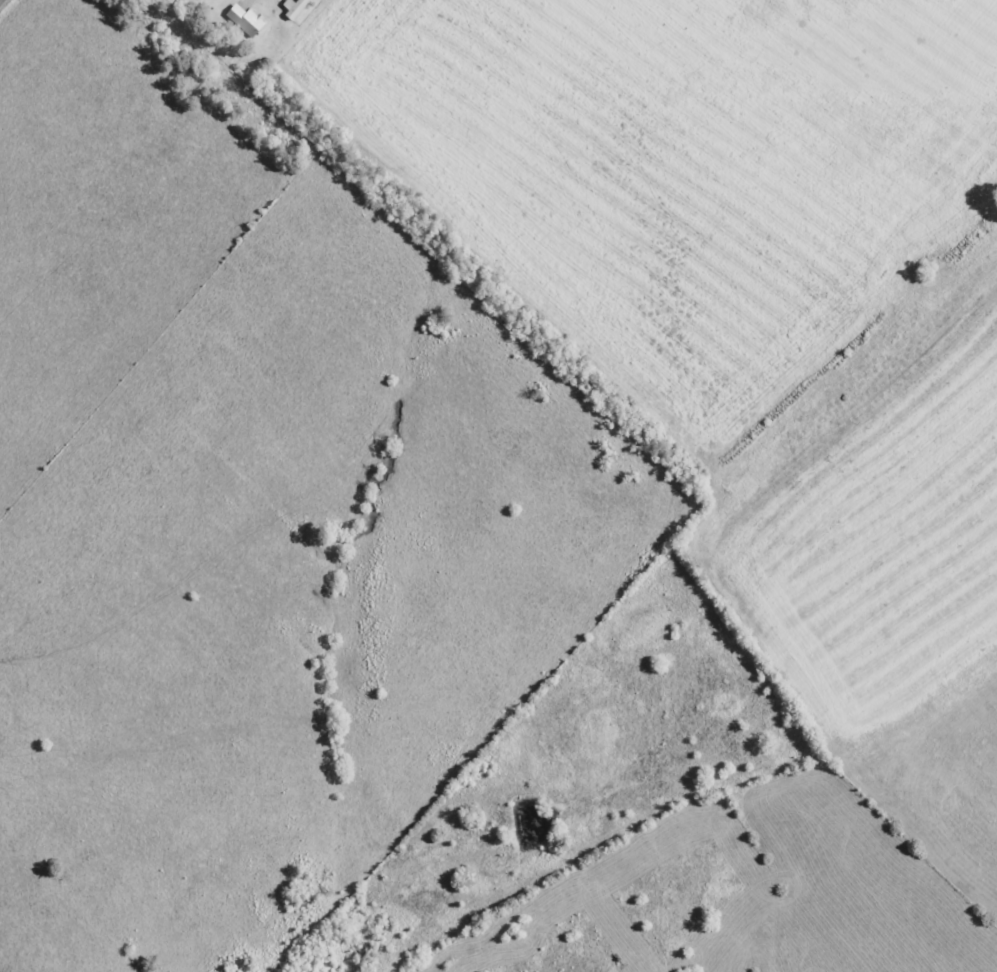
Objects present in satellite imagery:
building: (202, 0)
road: (1, 1)
building: (246, 22)

